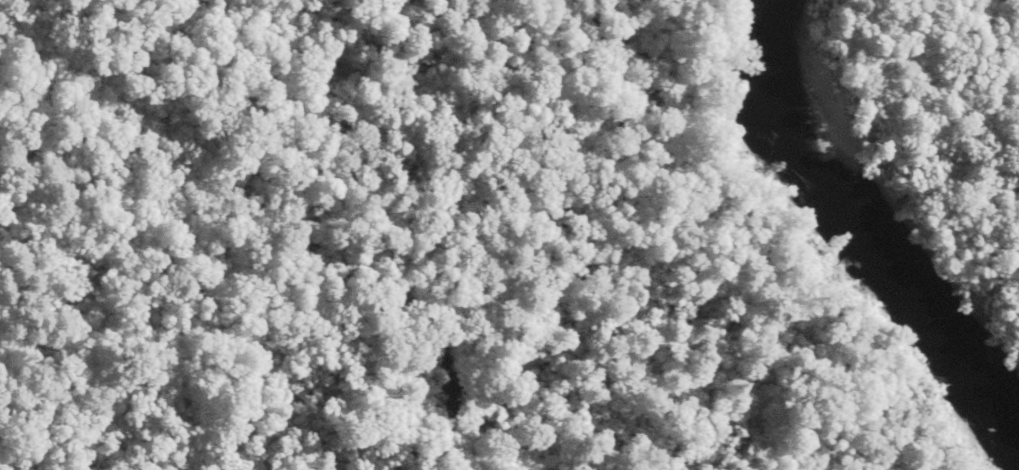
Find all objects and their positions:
river: (865, 236)

